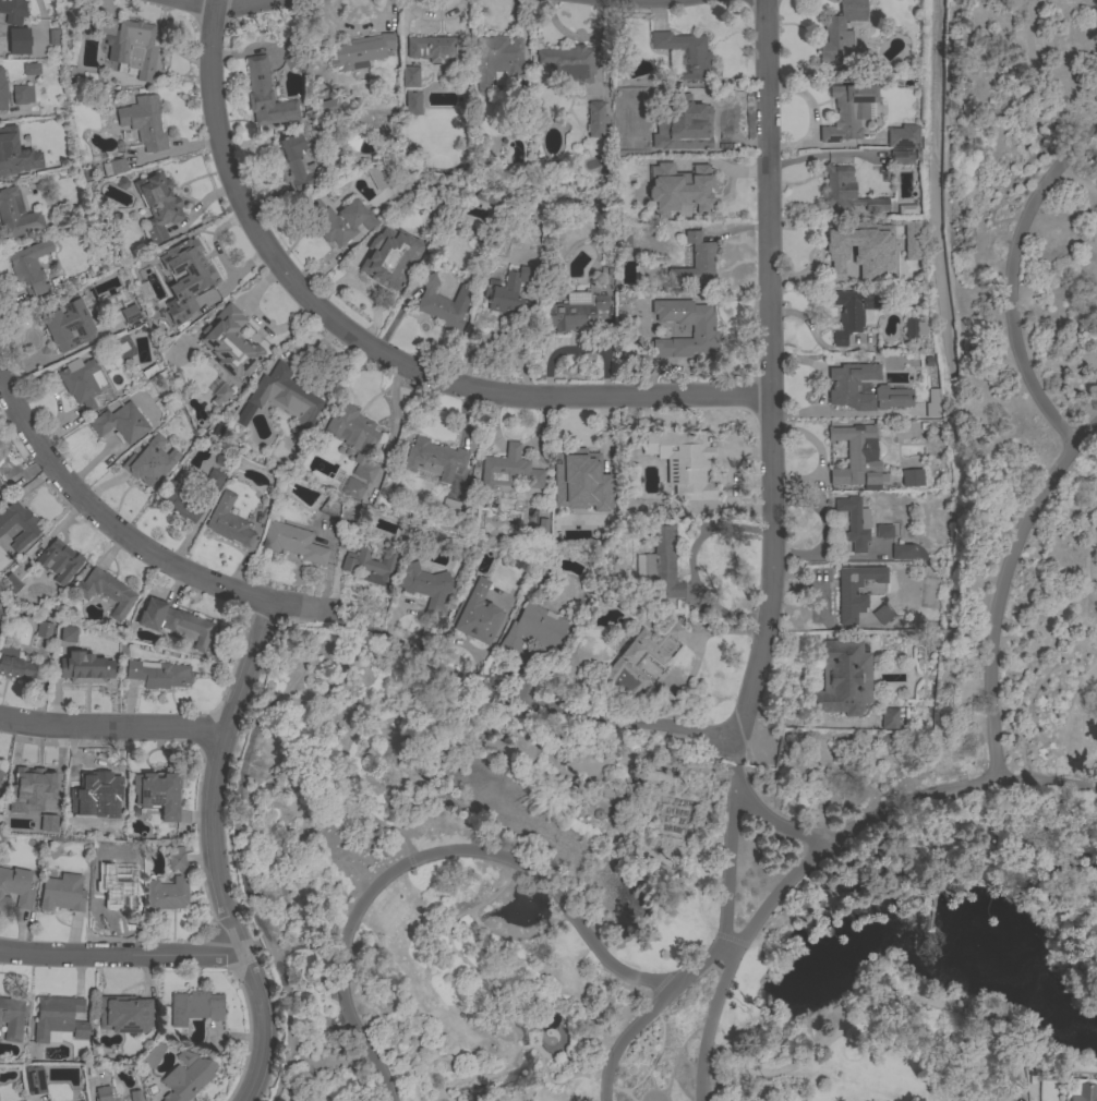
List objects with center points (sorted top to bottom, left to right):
road: (212, 2)
road: (214, 4)
building: (12, 11)
building: (103, 25)
building: (843, 33)
building: (53, 36)
building: (19, 40)
building: (136, 48)
building: (434, 48)
building: (362, 51)
building: (685, 52)
building: (495, 61)
road: (1038, 65)
building: (568, 66)
building: (32, 69)
building: (409, 76)
building: (2, 92)
building: (22, 94)
building: (266, 96)
building: (413, 102)
building: (328, 106)
building: (847, 111)
building: (668, 117)
building: (598, 120)
building: (144, 122)
building: (689, 123)
building: (903, 136)
building: (15, 153)
building: (900, 157)
building: (297, 164)
building: (113, 167)
building: (387, 174)
building: (678, 187)
building: (847, 191)
building: (158, 205)
building: (905, 209)
building: (16, 214)
building: (338, 219)
building: (623, 237)
building: (908, 241)
building: (842, 243)
building: (399, 254)
building: (695, 263)
building: (29, 267)
building: (901, 271)
road: (1011, 277)
building: (185, 278)
building: (506, 290)
building: (443, 303)
building: (575, 311)
building: (853, 312)
building: (126, 315)
building: (68, 326)
building: (702, 328)
building: (914, 328)
road: (498, 334)
building: (230, 343)
road: (374, 348)
road: (1092, 355)
road: (769, 370)
building: (86, 384)
building: (843, 387)
building: (220, 394)
building: (281, 398)
building: (932, 403)
building: (121, 422)
road: (1096, 426)
building: (219, 429)
building: (354, 437)
building: (857, 456)
building: (434, 459)
building: (149, 461)
building: (683, 461)
building: (508, 469)
building: (912, 477)
building: (214, 479)
building: (578, 482)
road: (1077, 482)
building: (352, 488)
building: (180, 497)
building: (450, 506)
building: (330, 507)
road: (1073, 509)
building: (228, 521)
building: (855, 522)
building: (17, 524)
building: (883, 531)
building: (293, 542)
building: (346, 543)
building: (906, 550)
road: (150, 554)
building: (59, 561)
building: (661, 562)
building: (371, 565)
building: (10, 584)
building: (427, 588)
road: (1001, 589)
building: (855, 590)
building: (106, 591)
building: (475, 614)
building: (2, 615)
building: (880, 615)
building: (176, 622)
building: (44, 629)
building: (533, 629)
building: (65, 636)
road: (1051, 644)
building: (637, 660)
building: (16, 665)
building: (75, 672)
building: (160, 674)
building: (842, 678)
building: (888, 717)
road: (647, 725)
road: (111, 726)
park: (746, 767)
building: (0, 774)
building: (646, 776)
building: (33, 784)
building: (94, 785)
road: (335, 788)
building: (155, 791)
building: (53, 819)
road: (777, 824)
building: (117, 827)
road: (732, 843)
building: (100, 849)
road: (820, 851)
road: (213, 852)
road: (883, 874)
road: (546, 883)
building: (169, 885)
building: (15, 888)
building: (62, 893)
building: (112, 896)
road: (360, 910)
road: (121, 955)
road: (603, 955)
road: (487, 985)
building: (195, 1006)
road: (879, 1007)
building: (124, 1014)
road: (648, 1014)
building: (11, 1017)
building: (59, 1017)
road: (327, 1040)
road: (525, 1045)
road: (516, 1046)
road: (667, 1046)
road: (677, 1050)
road: (655, 1054)
building: (153, 1055)
building: (185, 1057)
road: (430, 1058)
building: (34, 1079)
building: (188, 1079)
road: (557, 1082)
road: (787, 1084)
road: (652, 1088)
road: (623, 1090)
building: (1080, 1090)
building: (103, 1093)
building: (134, 1096)

